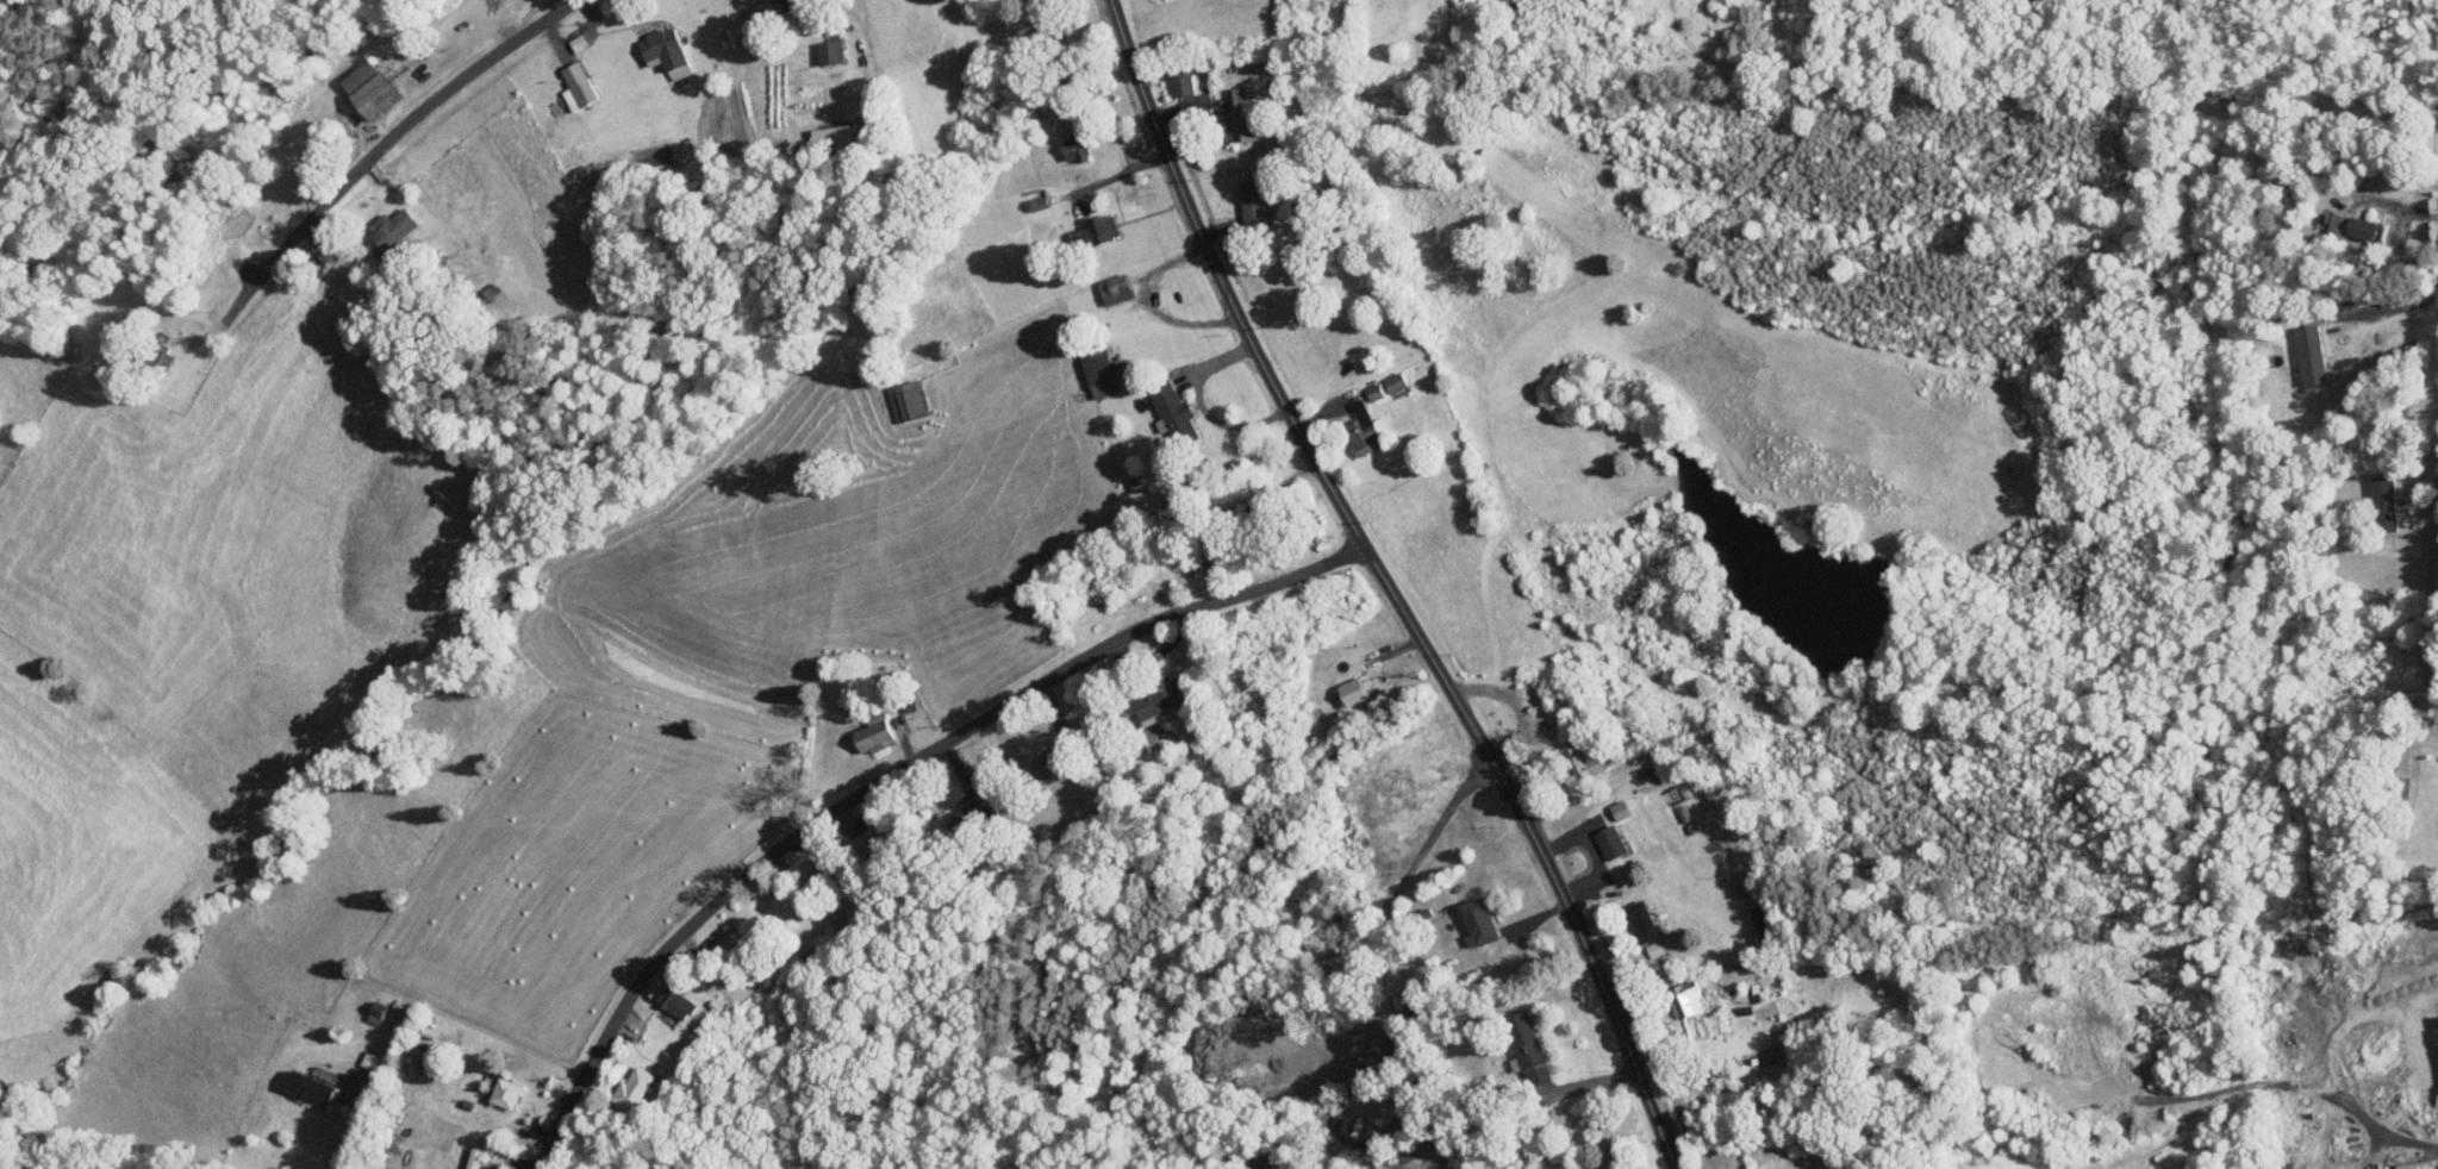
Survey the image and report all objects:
building: (784, 1)
building: (579, 40)
building: (666, 50)
building: (831, 50)
building: (1181, 83)
building: (579, 86)
building: (368, 88)
building: (1240, 113)
building: (1074, 145)
road: (370, 152)
building: (1253, 198)
building: (2352, 226)
building: (1096, 230)
building: (391, 231)
building: (1115, 288)
building: (2313, 354)
building: (1098, 370)
building: (1396, 382)
building: (1376, 390)
building: (908, 399)
building: (1174, 412)
building: (1363, 429)
building: (2388, 501)
road: (1388, 586)
building: (1353, 690)
building: (1162, 698)
building: (874, 732)
road: (2351, 744)
building: (1579, 761)
road: (886, 779)
building: (1616, 812)
building: (962, 818)
building: (1613, 840)
building: (1642, 920)
building: (1480, 921)
building: (1654, 948)
building: (676, 1001)
building: (1688, 1001)
building: (378, 1012)
building: (404, 1012)
building: (1529, 1049)
building: (420, 1057)
building: (374, 1062)
building: (311, 1087)
building: (506, 1093)
building: (630, 1095)
building: (1385, 1109)
road: (350, 1129)
road: (2428, 1142)
building: (2417, 1164)

